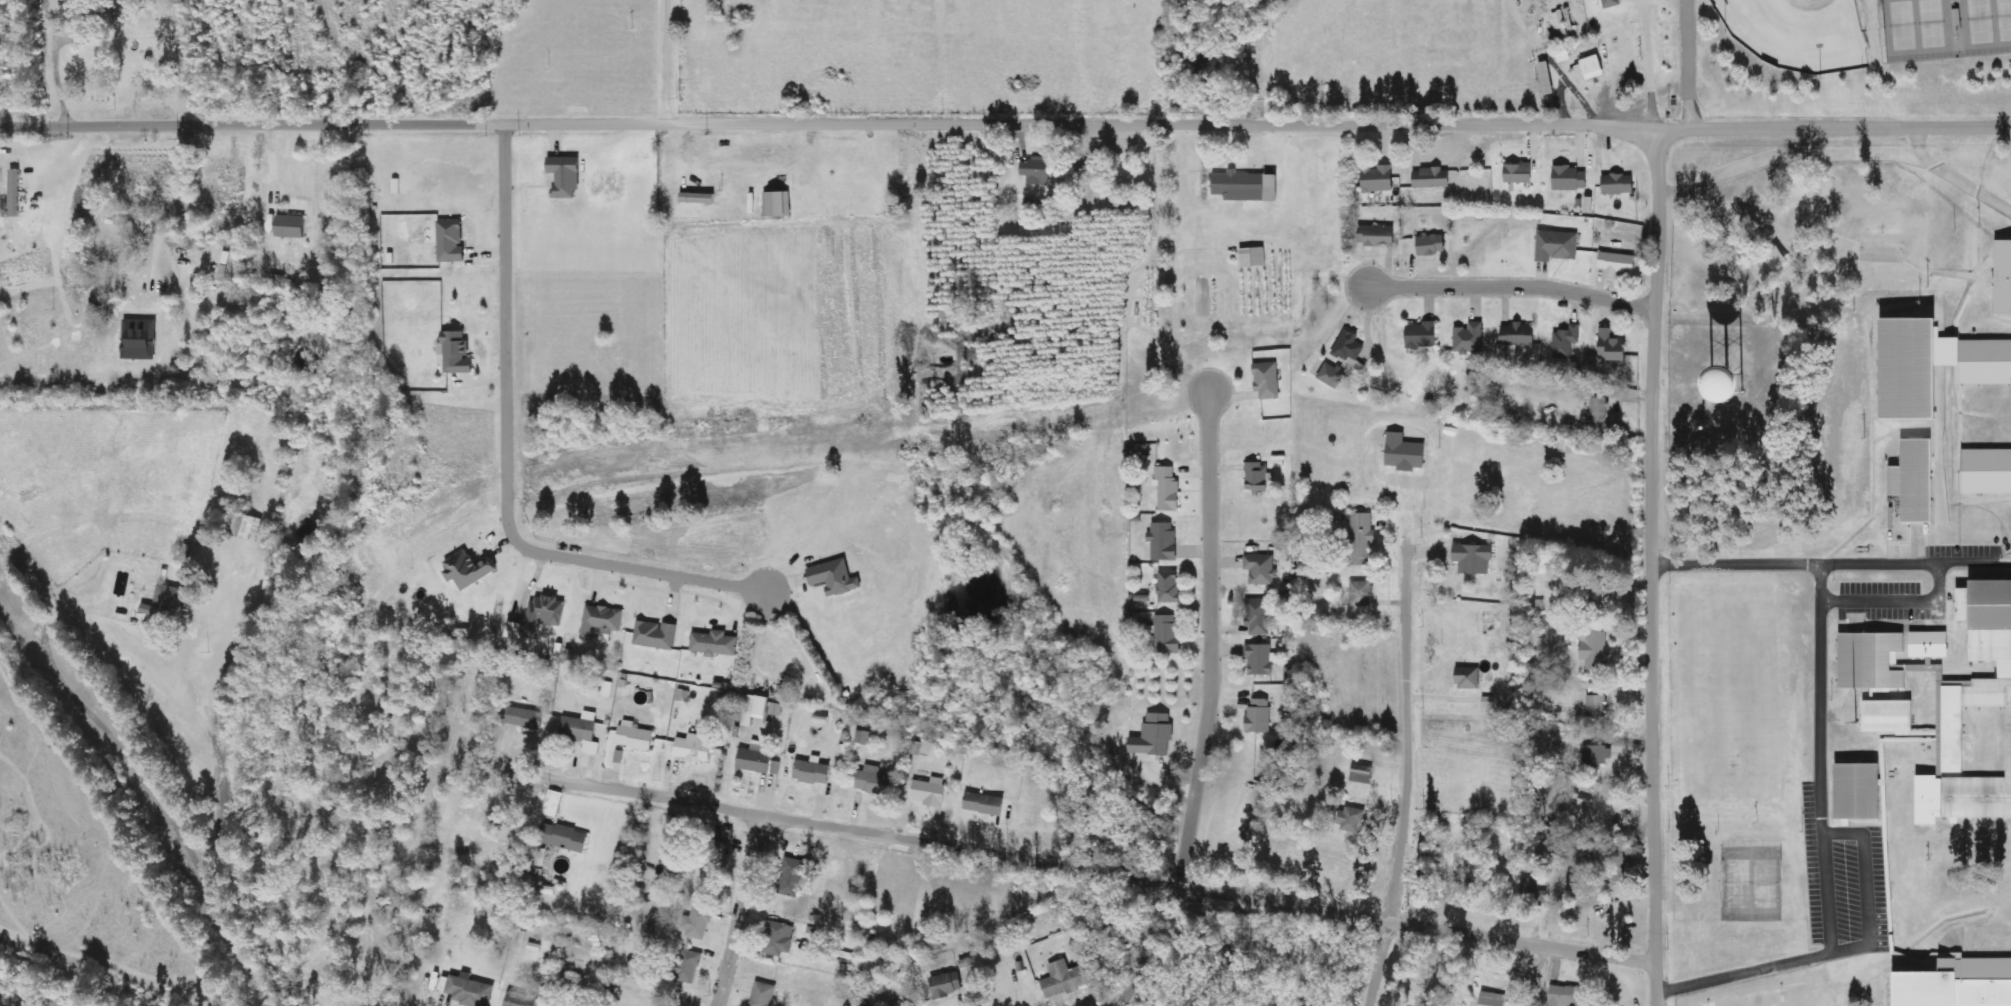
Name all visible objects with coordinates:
building: (1612, 3)
park: (2003, 18)
building: (93, 20)
park: (1976, 20)
park: (1928, 22)
park: (1899, 23)
park: (1796, 33)
park: (1838, 60)
road: (1686, 64)
building: (1593, 67)
building: (1546, 78)
road: (109, 82)
road: (373, 125)
road: (1379, 125)
building: (1037, 170)
building: (1519, 173)
building: (566, 176)
road: (1952, 177)
building: (1432, 178)
building: (1571, 178)
building: (1379, 179)
building: (1619, 184)
building: (1246, 186)
building: (14, 193)
building: (697, 198)
building: (777, 204)
building: (291, 226)
building: (1377, 236)
building: (451, 241)
building: (1432, 245)
building: (1557, 246)
building: (1253, 257)
building: (1778, 260)
building: (1618, 263)
building: (2003, 274)
road: (1508, 283)
building: (1519, 334)
building: (1422, 336)
building: (1470, 338)
building: (140, 339)
building: (1566, 341)
building: (1349, 346)
building: (1612, 346)
building: (457, 353)
building: (1984, 360)
building: (1356, 364)
building: (1911, 366)
building: (1331, 375)
building: (1267, 380)
building: (1747, 386)
building: (1600, 413)
building: (1405, 453)
road: (502, 460)
building: (1986, 469)
building: (1257, 477)
building: (1913, 479)
building: (1168, 489)
building: (247, 526)
building: (1360, 540)
building: (1163, 542)
building: (1474, 558)
road: (1964, 560)
road: (1648, 567)
building: (469, 569)
building: (1261, 569)
building: (835, 578)
road: (1937, 580)
building: (1169, 586)
building: (1361, 594)
parking lot: (1887, 601)
building: (167, 603)
road: (1819, 614)
building: (543, 615)
building: (1258, 616)
building: (1990, 618)
building: (601, 621)
building: (514, 632)
building: (1167, 634)
building: (655, 635)
road: (1205, 639)
building: (1598, 640)
building: (715, 644)
building: (1928, 644)
building: (1869, 659)
building: (1260, 660)
building: (1468, 678)
building: (605, 689)
building: (1489, 702)
building: (1596, 706)
building: (753, 709)
building: (1888, 715)
building: (1259, 716)
building: (524, 718)
building: (582, 731)
road: (1401, 735)
building: (1154, 736)
building: (635, 737)
building: (693, 749)
building: (1972, 752)
building: (1598, 755)
building: (619, 756)
building: (759, 758)
building: (812, 771)
building: (1362, 776)
road: (567, 781)
building: (874, 782)
building: (1858, 790)
building: (930, 792)
building: (553, 804)
building: (985, 804)
building: (1571, 807)
building: (1352, 819)
building: (564, 838)
building: (1619, 868)
building: (792, 877)
parking lot: (1841, 880)
park: (1735, 882)
park: (1761, 883)
road: (1864, 889)
road: (1207, 891)
building: (1532, 893)
road: (1825, 894)
road: (740, 909)
building: (697, 923)
building: (778, 939)
road: (1149, 945)
road: (1377, 963)
building: (688, 966)
road: (1741, 972)
building: (1068, 979)
building: (1958, 984)
building: (947, 985)
building: (468, 991)
building: (763, 995)
building: (1568, 996)
building: (1493, 999)
building: (521, 1000)
building: (859, 1000)
building: (575, 1001)
building: (902, 1004)
building: (1513, 1004)
building: (553, 1005)

